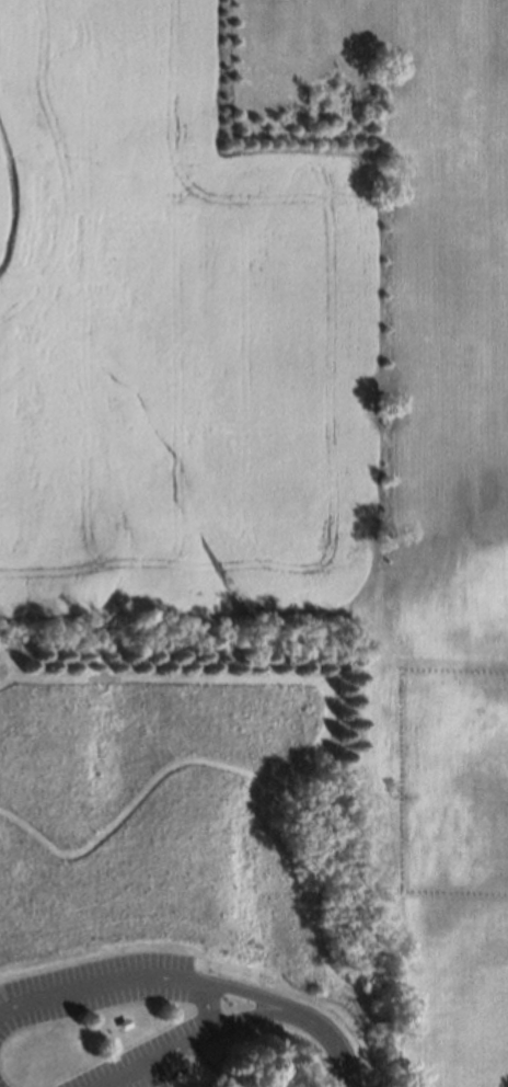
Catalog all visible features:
road: (7, 680)
road: (322, 757)
park: (197, 866)
road: (145, 976)
parking lot: (95, 999)
road: (332, 1038)
road: (193, 1039)
parking lot: (136, 1054)
parking lot: (3, 1083)

